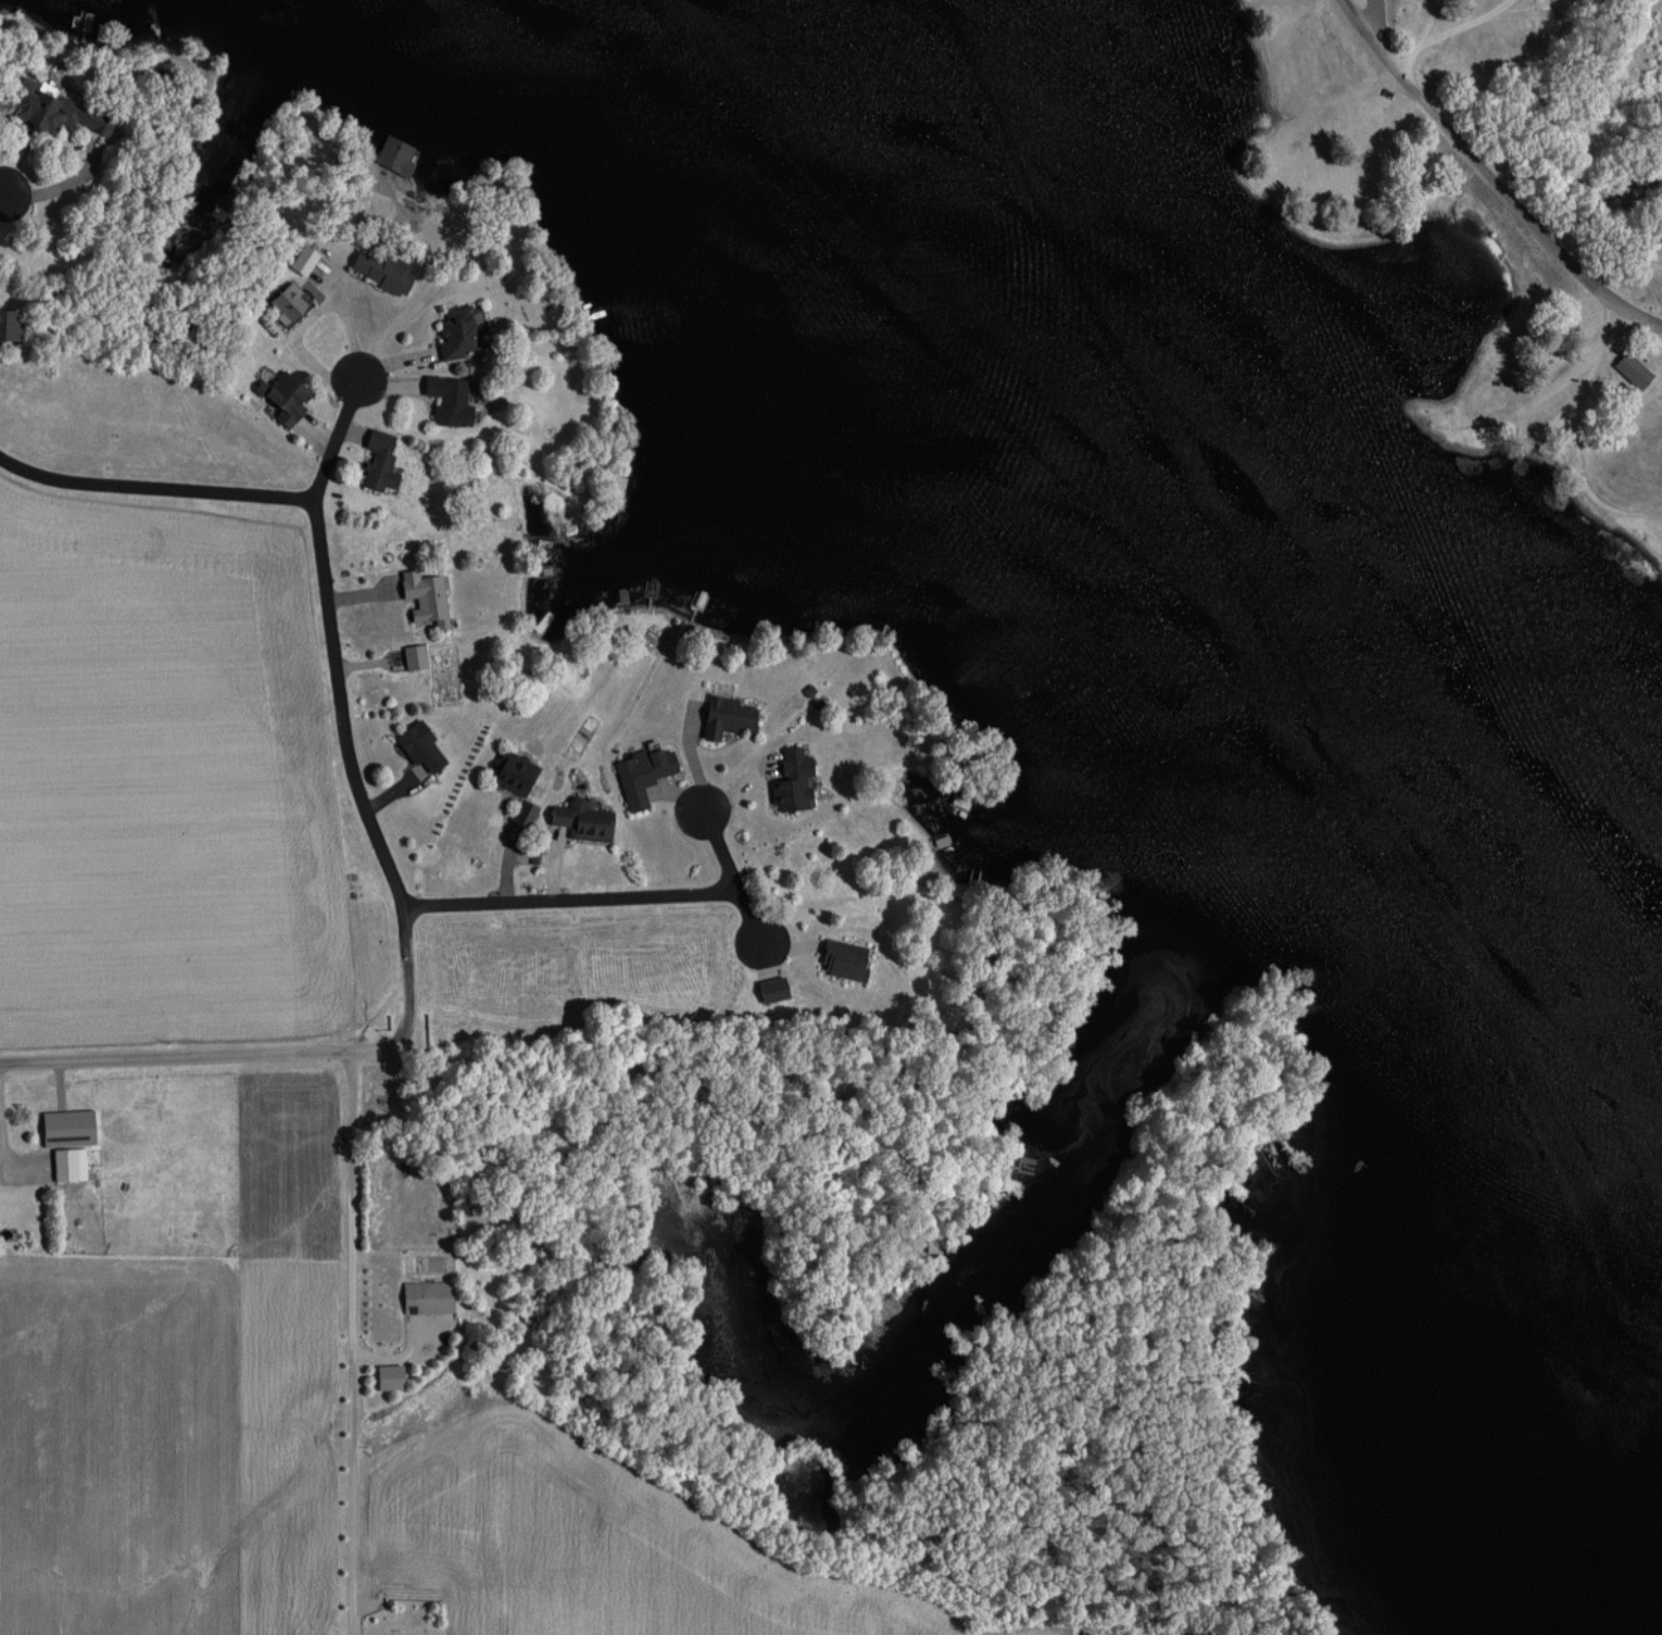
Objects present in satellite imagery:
building: (1538, 12)
road: (1378, 21)
road: (1437, 23)
road: (1481, 30)
road: (1415, 60)
building: (41, 108)
road: (1491, 175)
road: (2, 199)
park: (1432, 235)
building: (380, 271)
building: (288, 302)
building: (9, 325)
building: (457, 330)
building: (1632, 369)
road: (1587, 370)
building: (284, 397)
building: (448, 400)
road: (335, 438)
building: (379, 461)
road: (152, 489)
building: (424, 598)
building: (414, 657)
building: (725, 715)
building: (420, 749)
building: (512, 770)
building: (642, 774)
building: (792, 779)
road: (356, 781)
building: (957, 801)
building: (522, 813)
building: (581, 819)
road: (734, 875)
road: (574, 897)
building: (843, 958)
road: (268, 1056)
building: (63, 1164)
building: (425, 1296)
road: (354, 1344)
building: (388, 1376)

